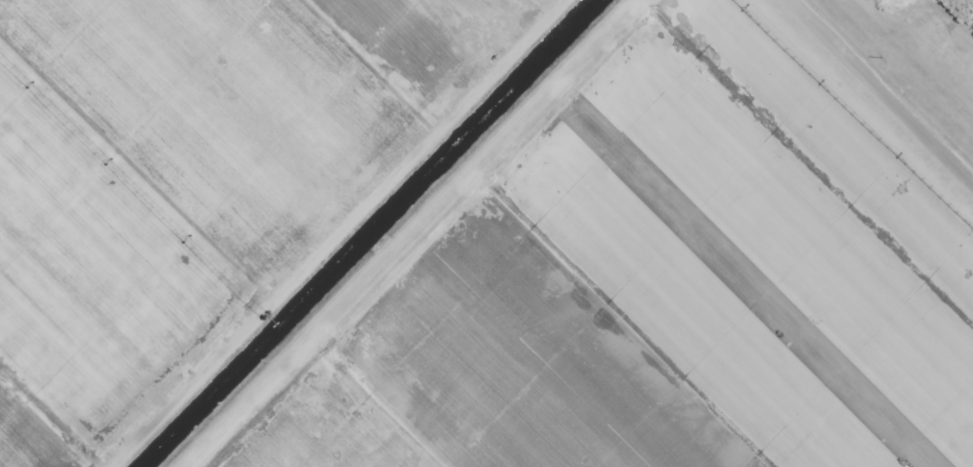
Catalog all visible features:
road: (879, 93)
road: (342, 233)

